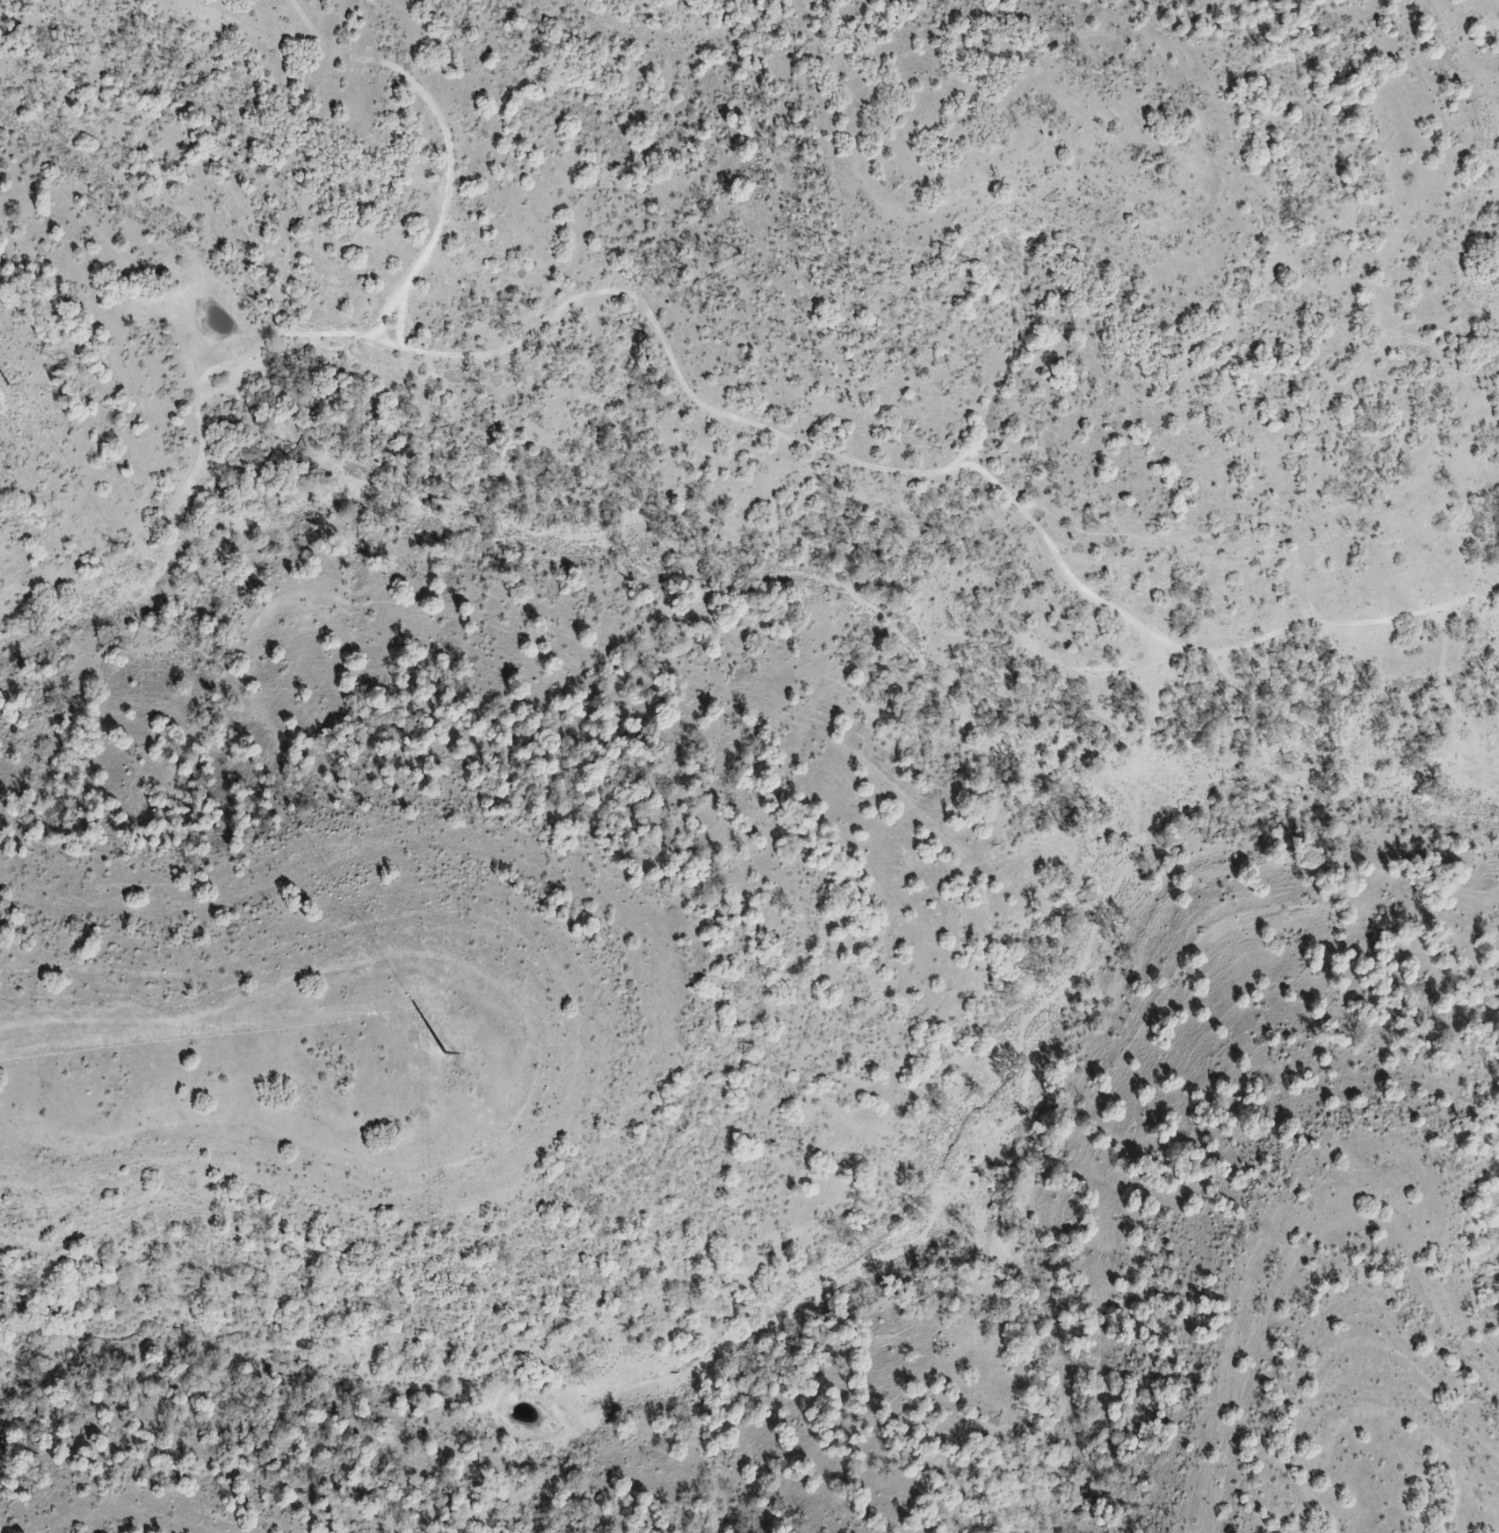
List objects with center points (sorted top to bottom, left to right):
power tower: (10, 387)
power tower: (445, 1055)

